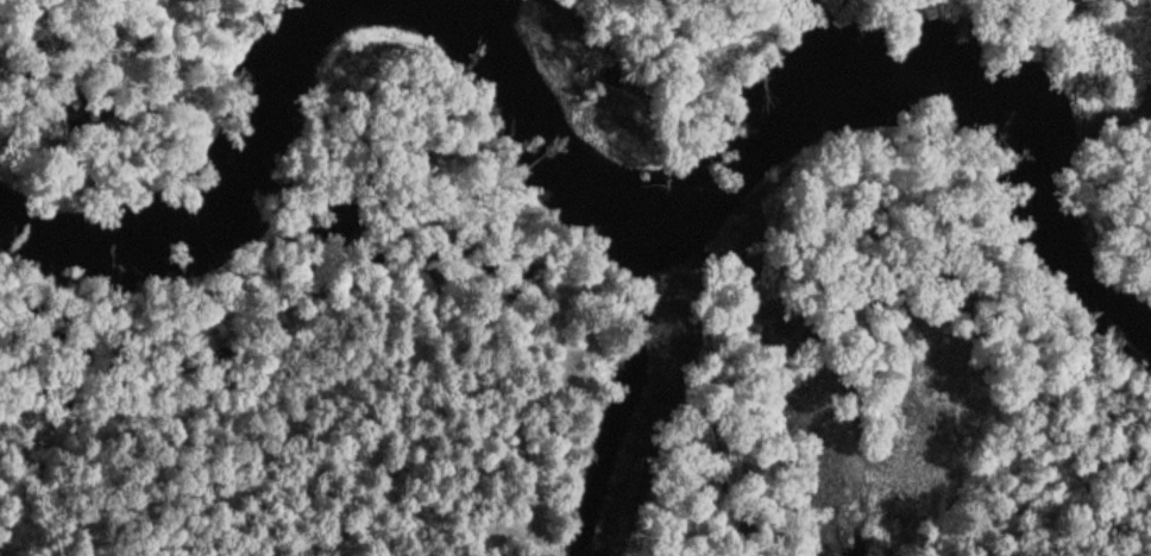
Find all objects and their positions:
river: (790, 114)
river: (218, 185)

